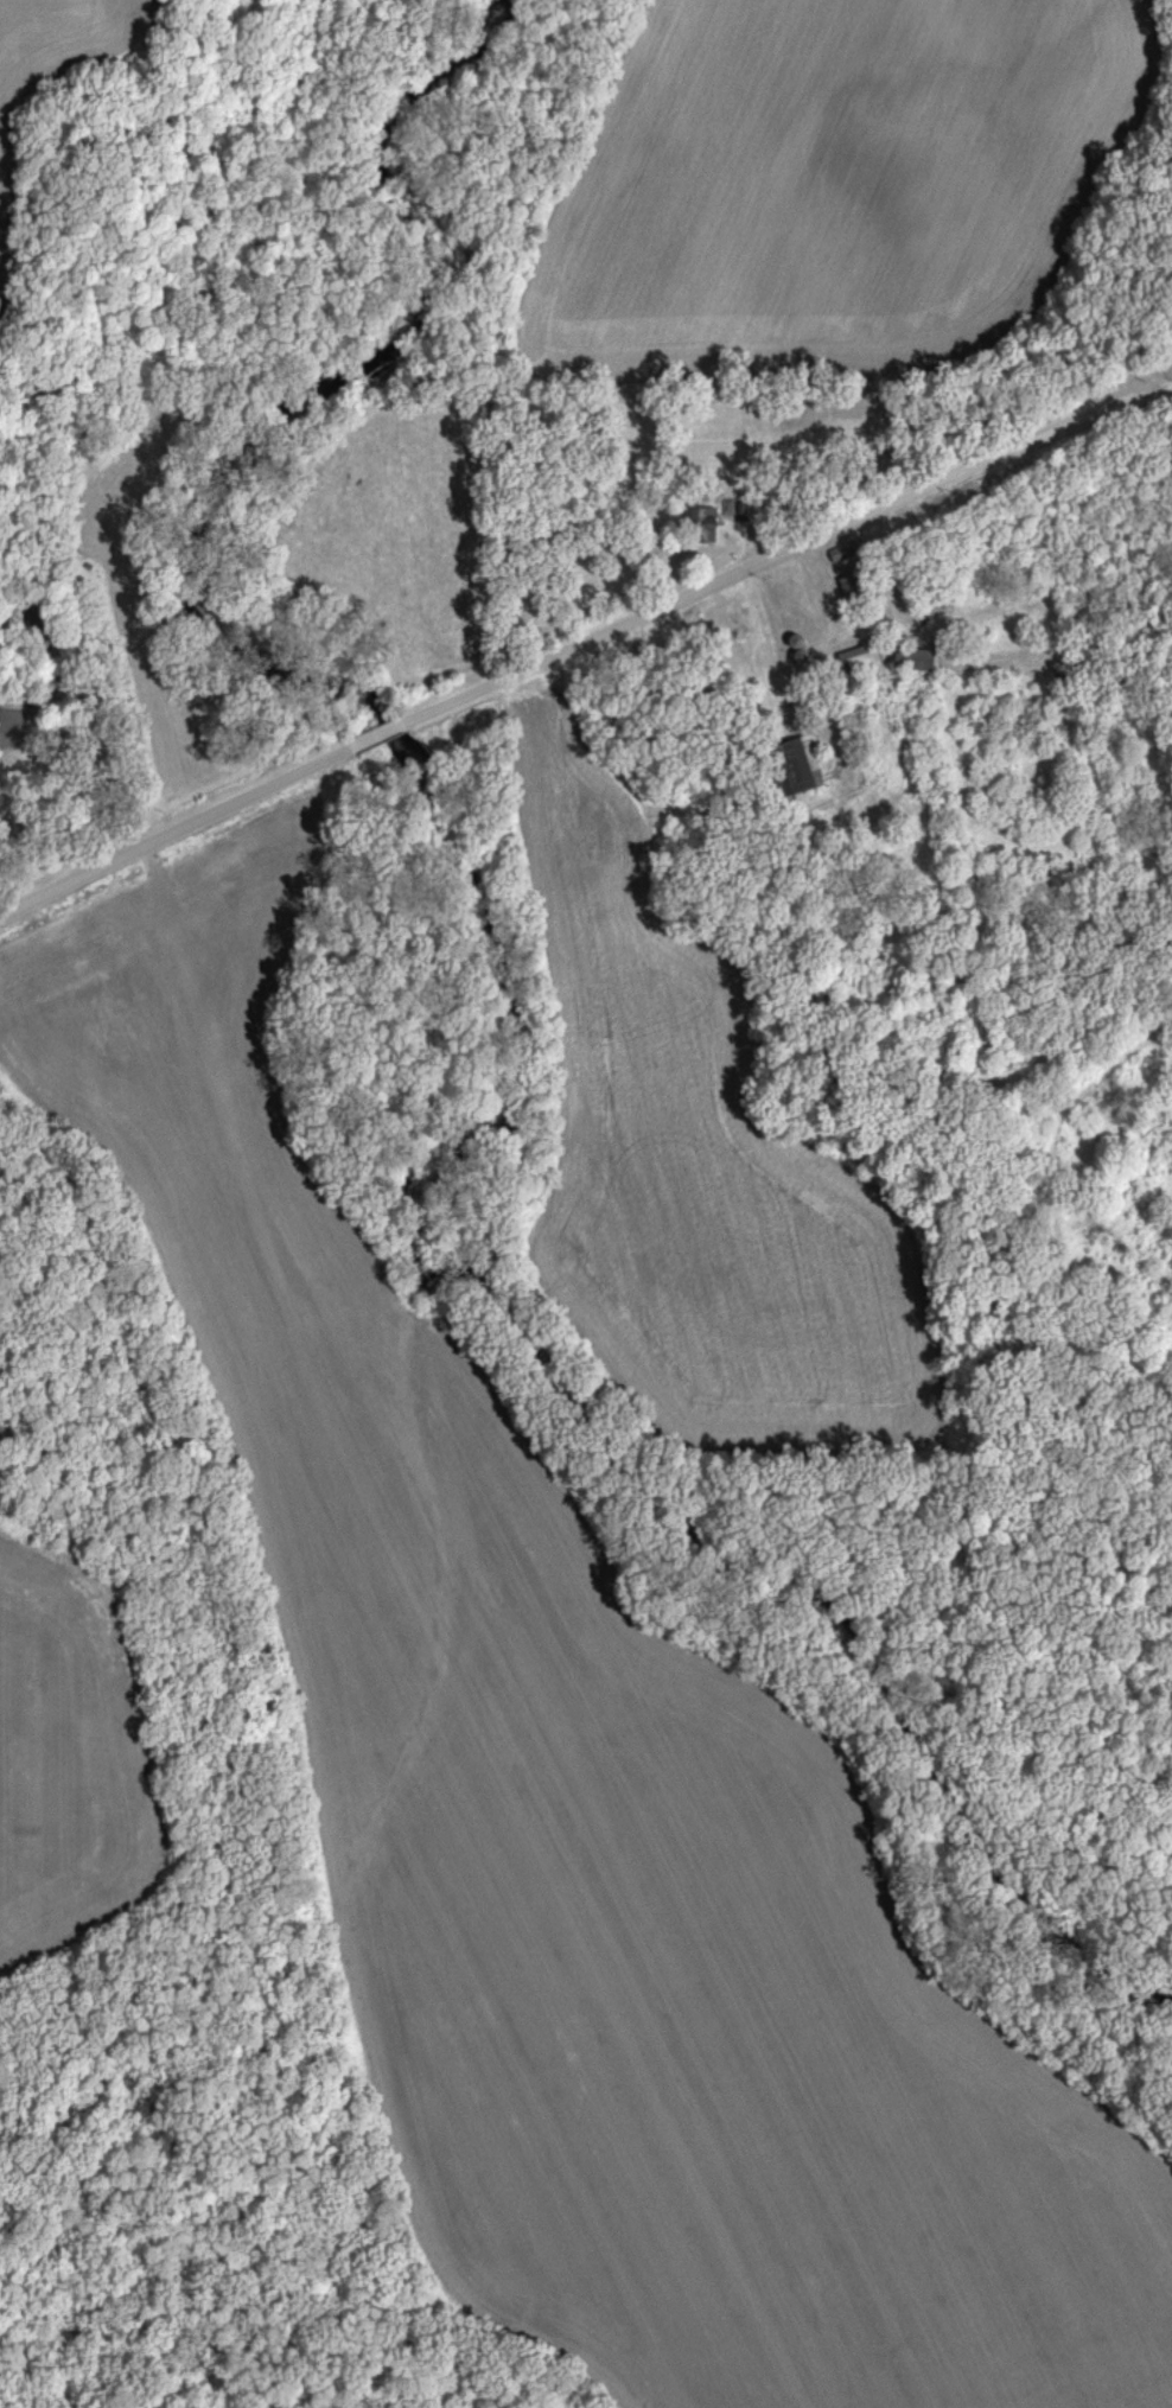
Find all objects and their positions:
building: (706, 527)
road: (766, 554)
building: (855, 661)
building: (913, 662)
building: (13, 726)
building: (794, 771)
road: (183, 827)

